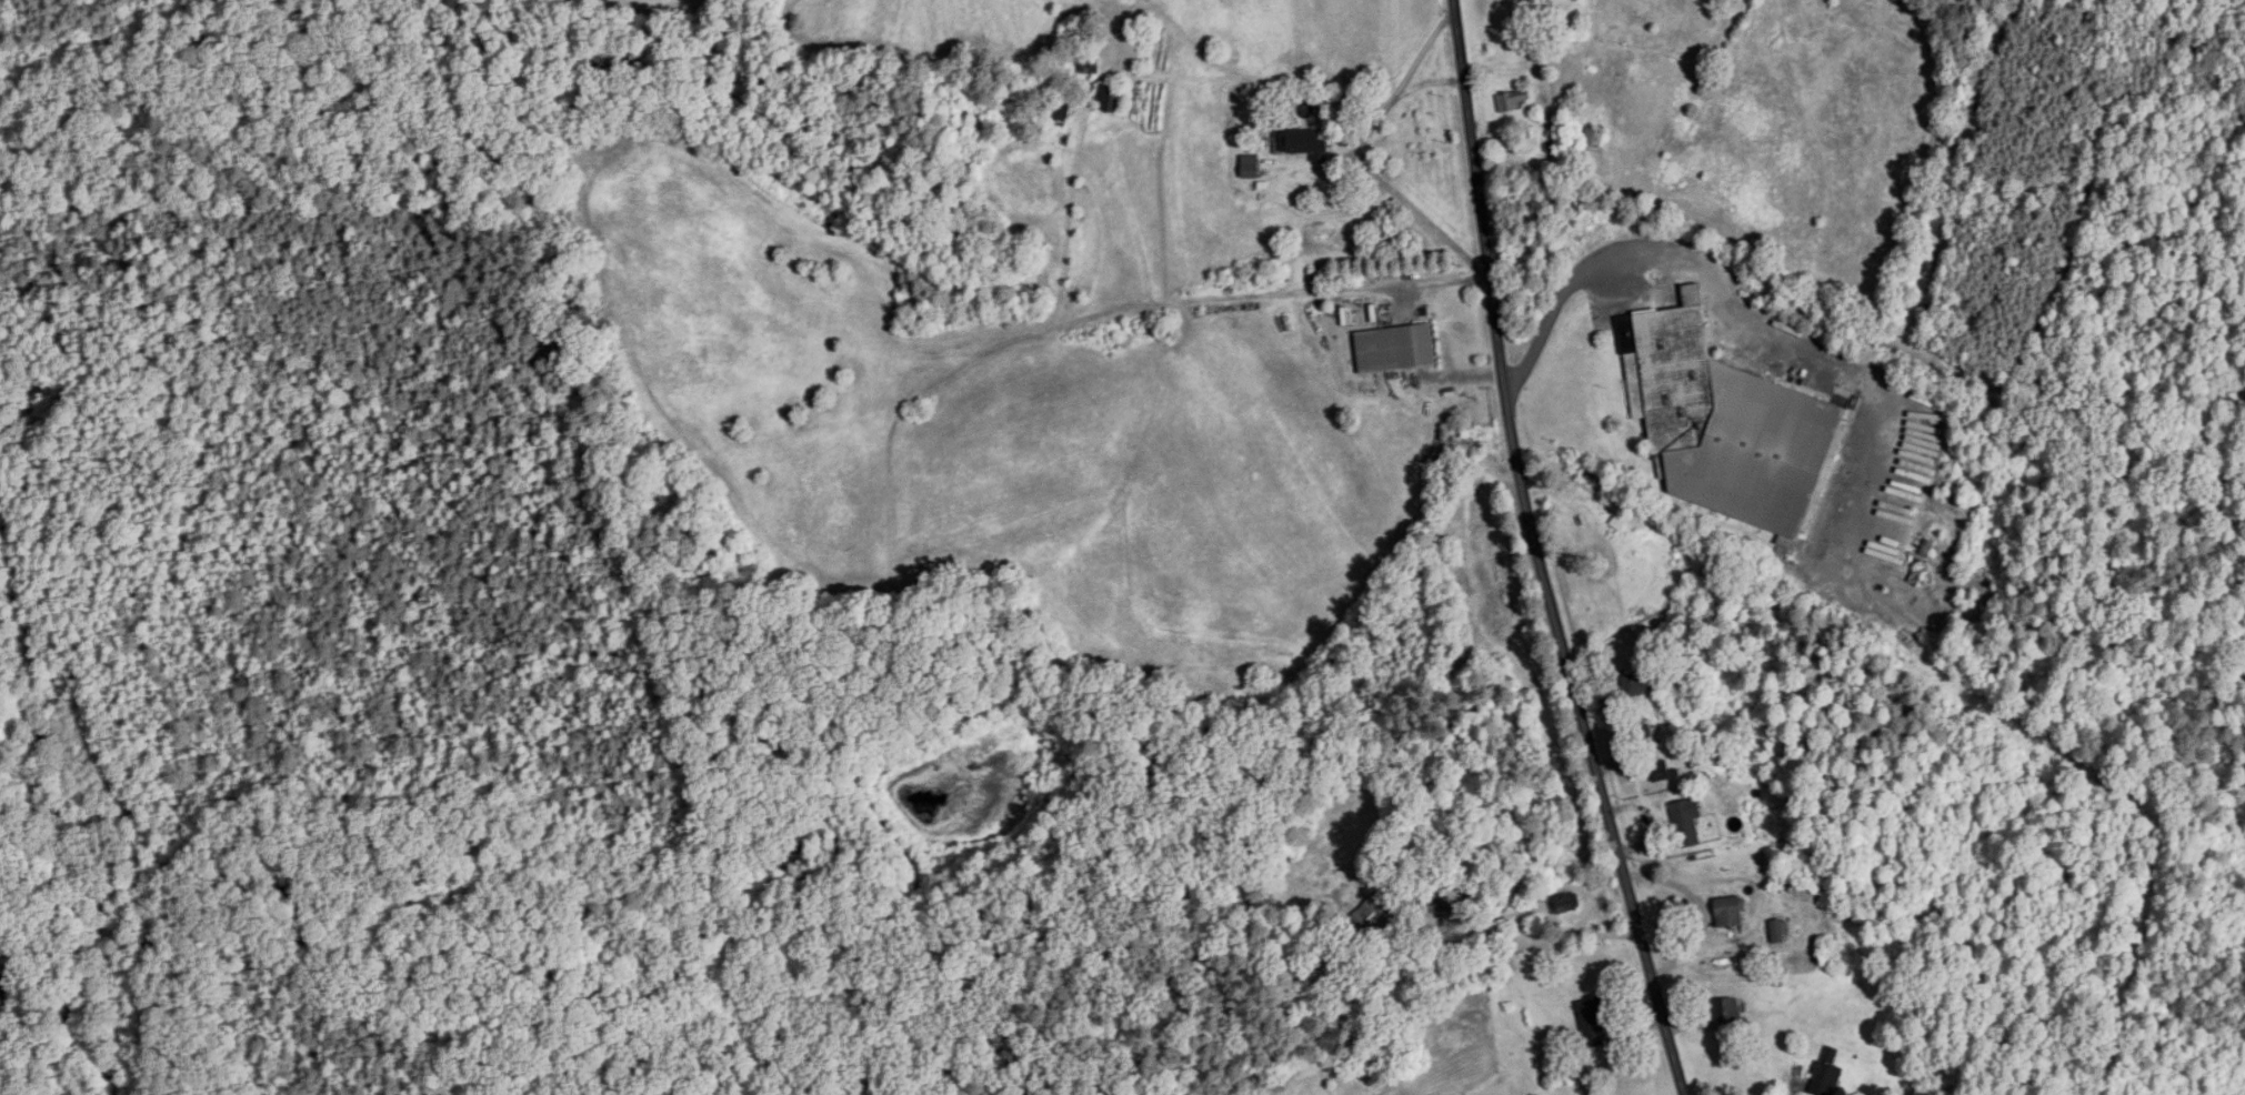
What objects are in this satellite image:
building: (1088, 67)
road: (1431, 82)
building: (1112, 99)
building: (1512, 100)
building: (1060, 111)
building: (1595, 137)
building: (1303, 143)
road: (1364, 154)
building: (1251, 167)
road: (1441, 282)
road: (1556, 303)
building: (1396, 349)
building: (1727, 425)
road: (1537, 553)
building: (1634, 685)
building: (1658, 767)
building: (1687, 822)
building: (1566, 904)
building: (1381, 912)
building: (1730, 913)
building: (1777, 932)
road: (6, 1007)
building: (1726, 1011)
building: (1594, 1024)
building: (1827, 1073)

